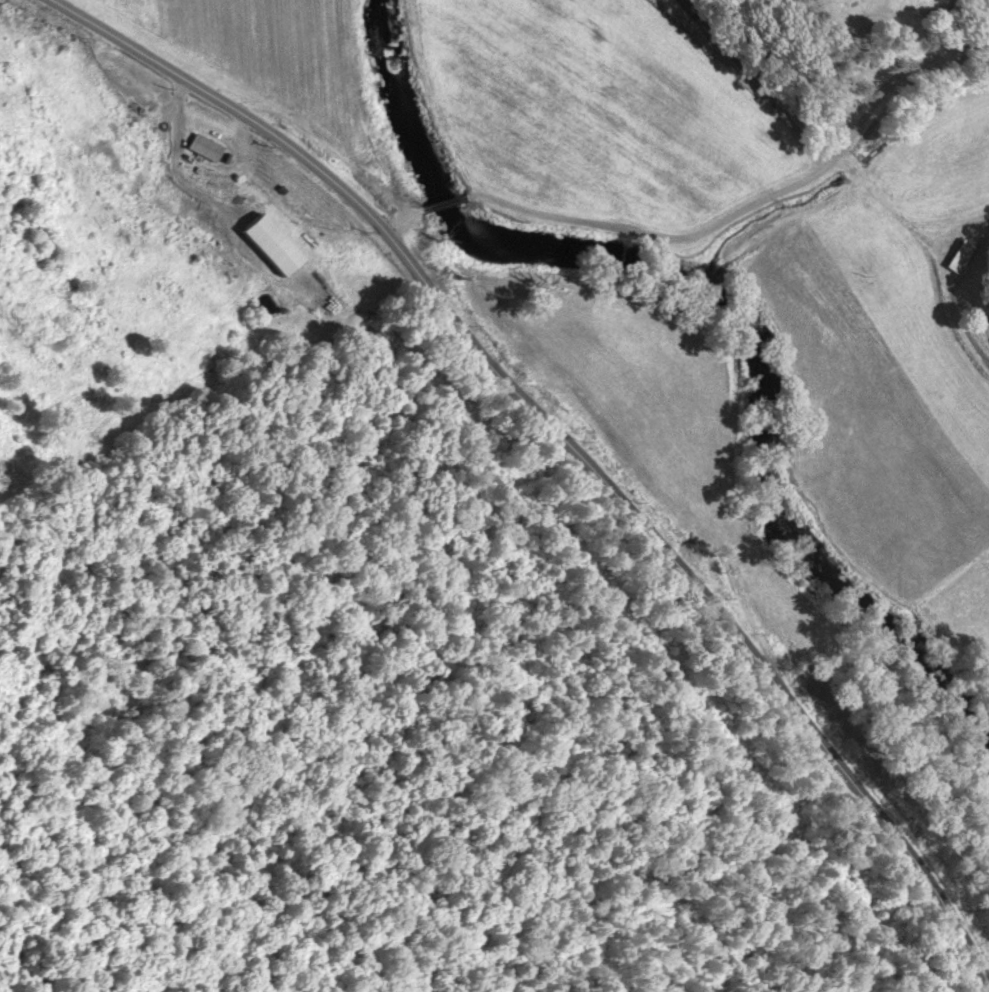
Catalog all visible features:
building: (205, 147)
road: (436, 198)
road: (749, 208)
road: (391, 213)
building: (265, 243)
building: (959, 256)
river: (731, 320)
road: (566, 445)

